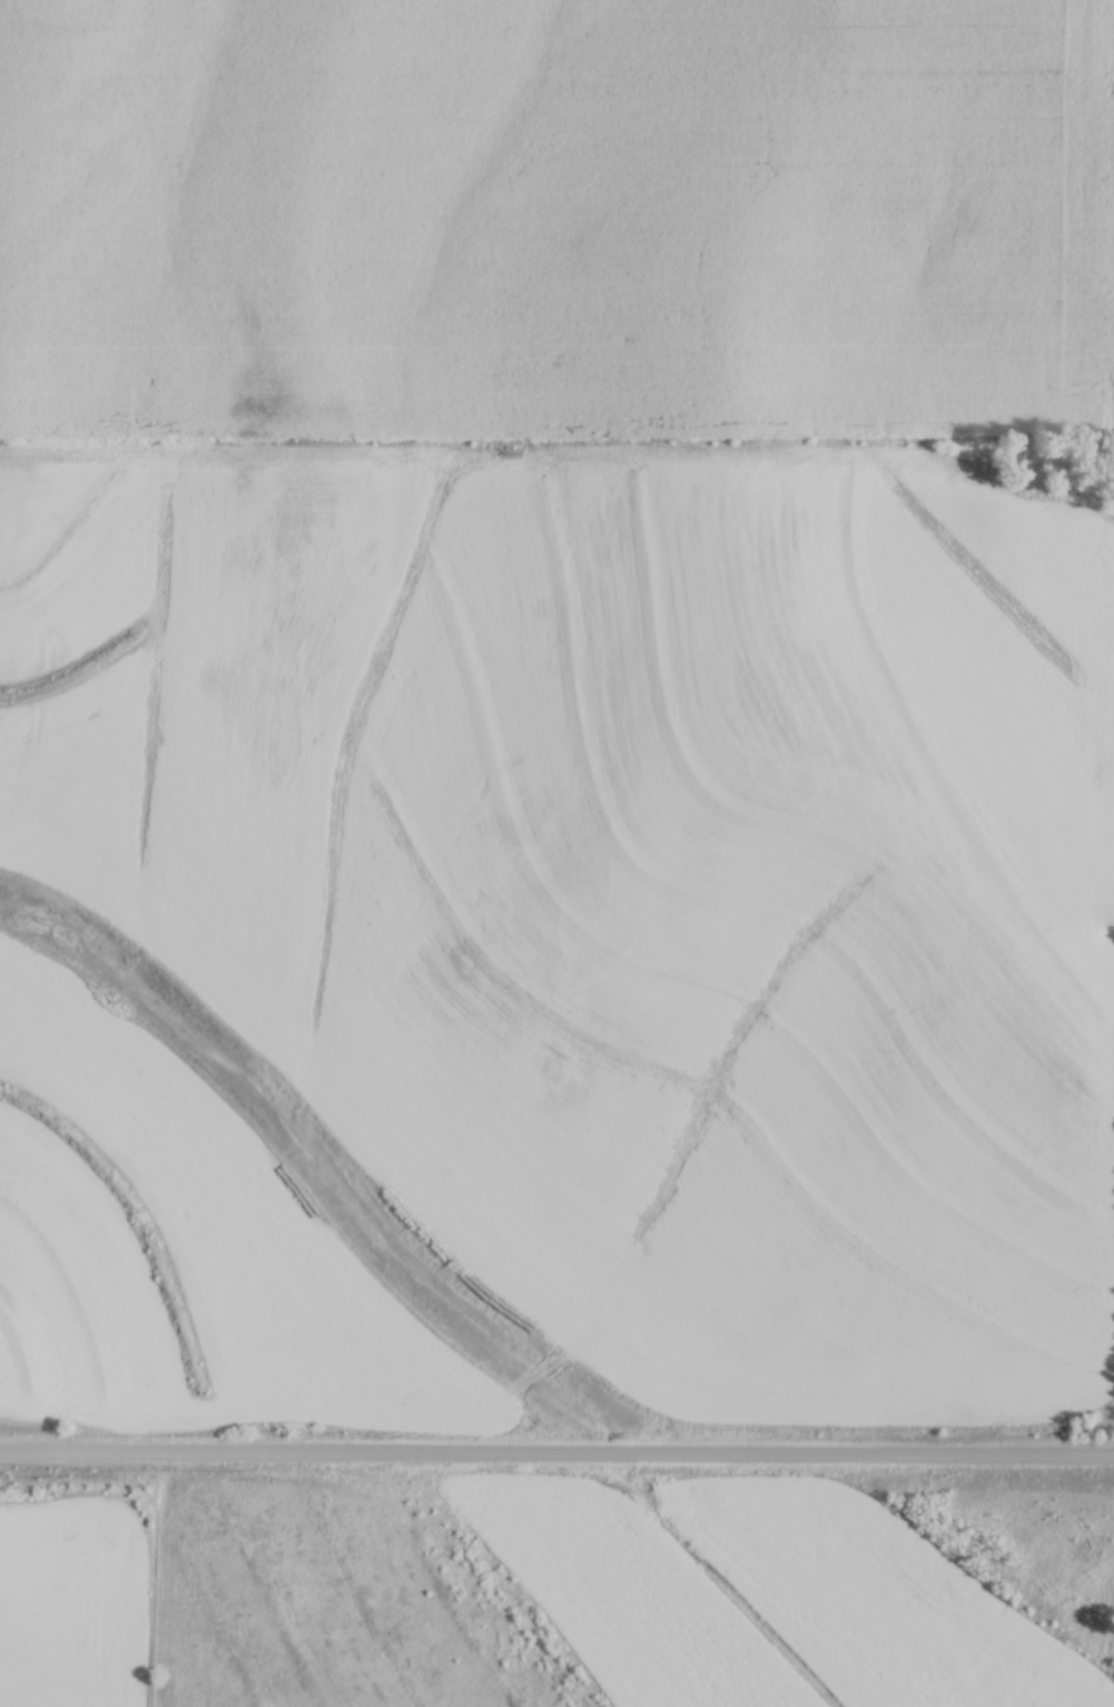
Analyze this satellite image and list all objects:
road: (556, 1456)

